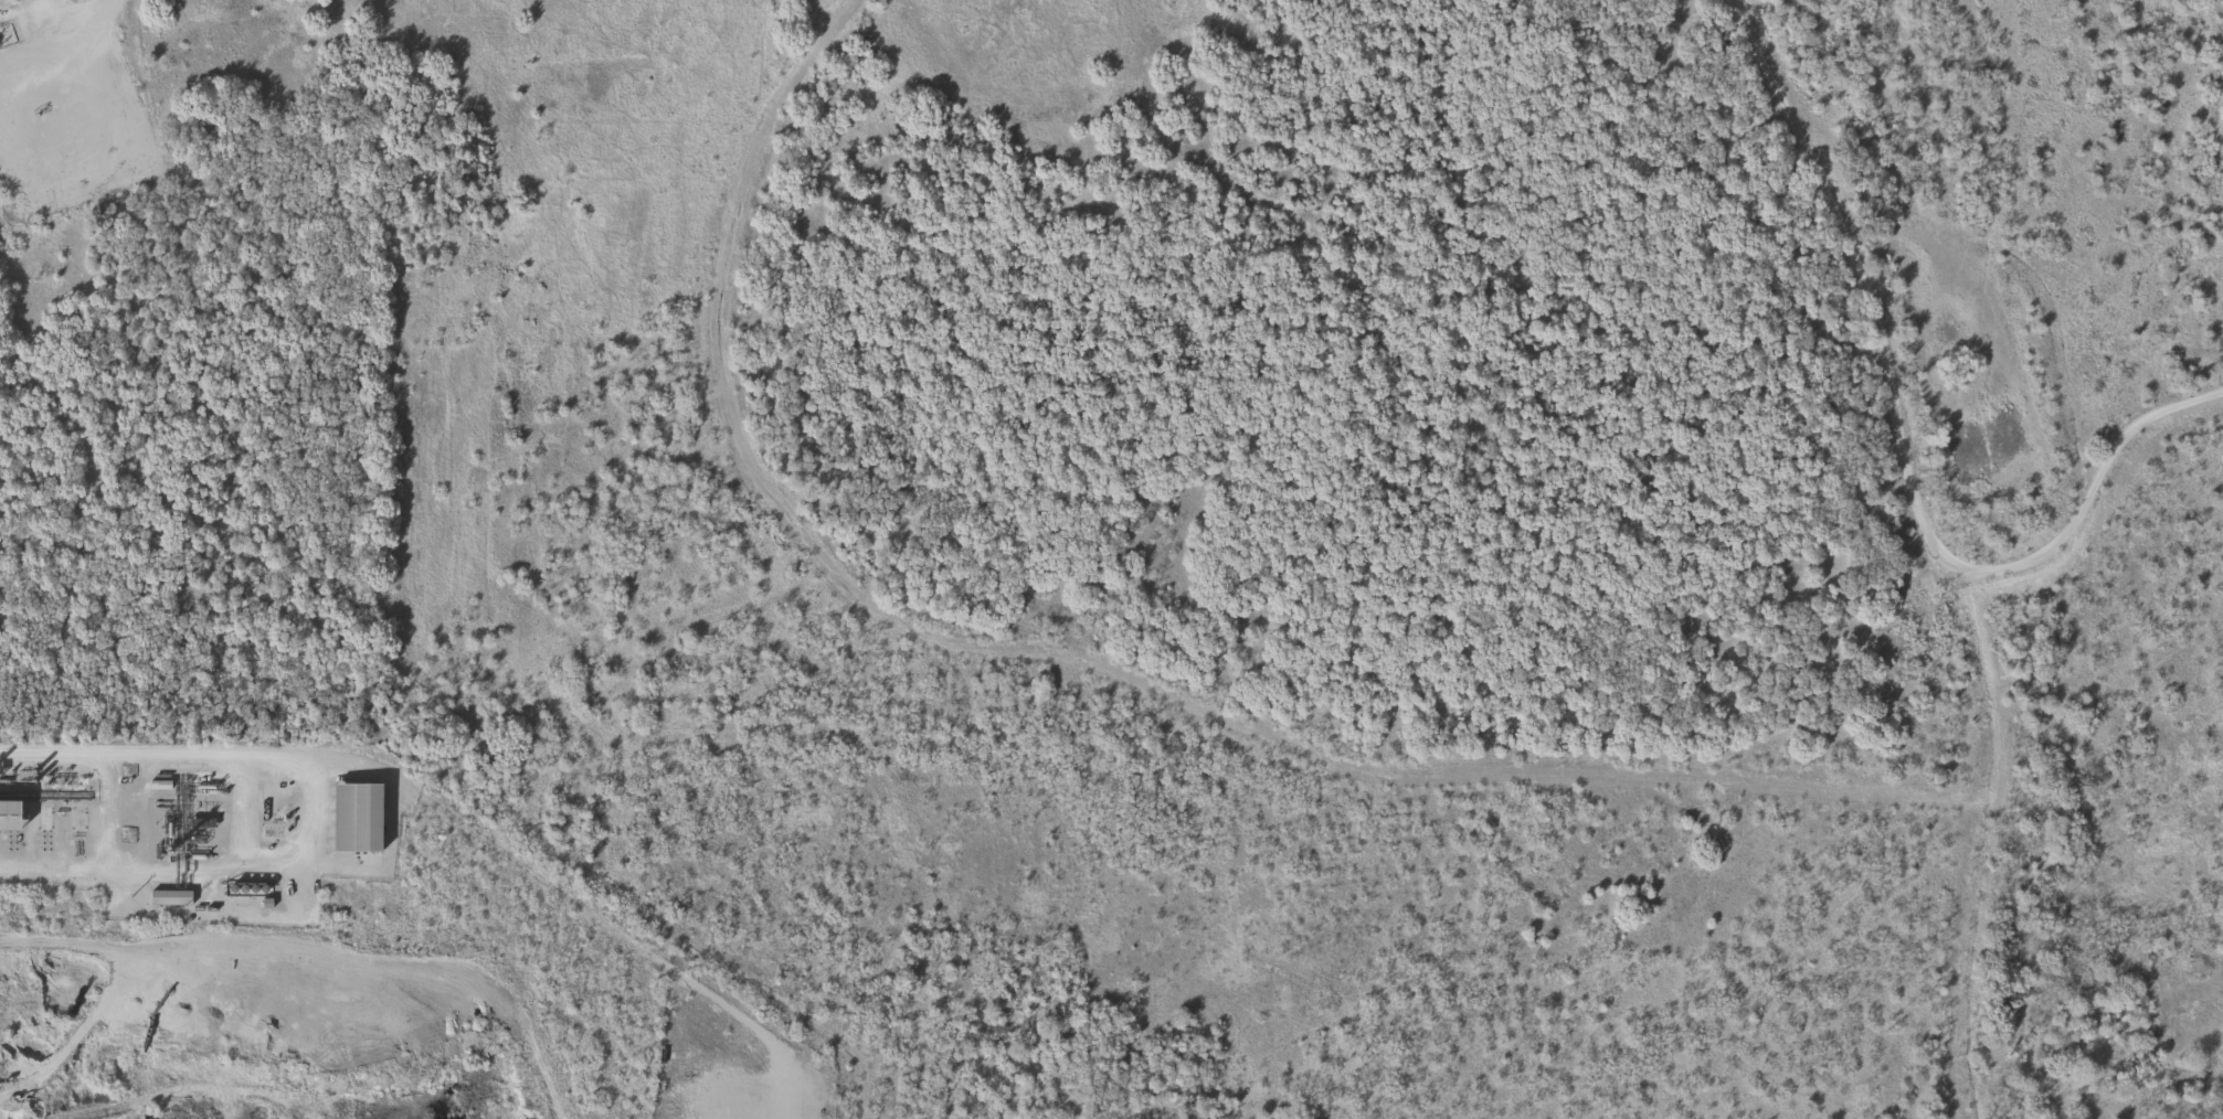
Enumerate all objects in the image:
road: (1903, 444)
building: (8, 816)
building: (352, 817)
building: (167, 897)

